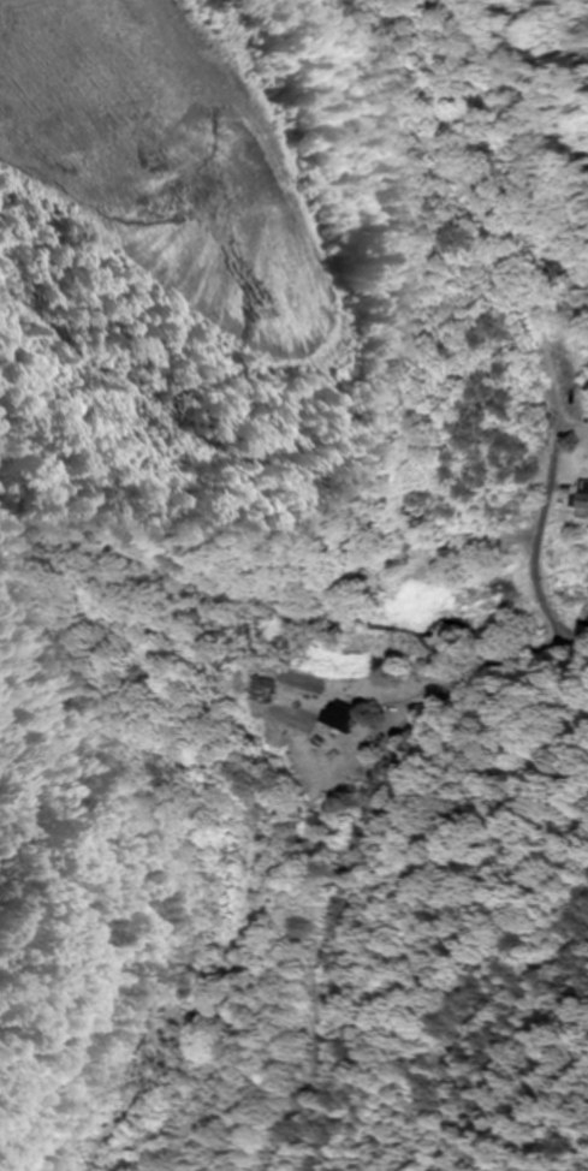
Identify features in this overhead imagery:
building: (554, 271)
road: (451, 298)
building: (583, 500)
road: (285, 606)
building: (268, 690)
building: (343, 719)

